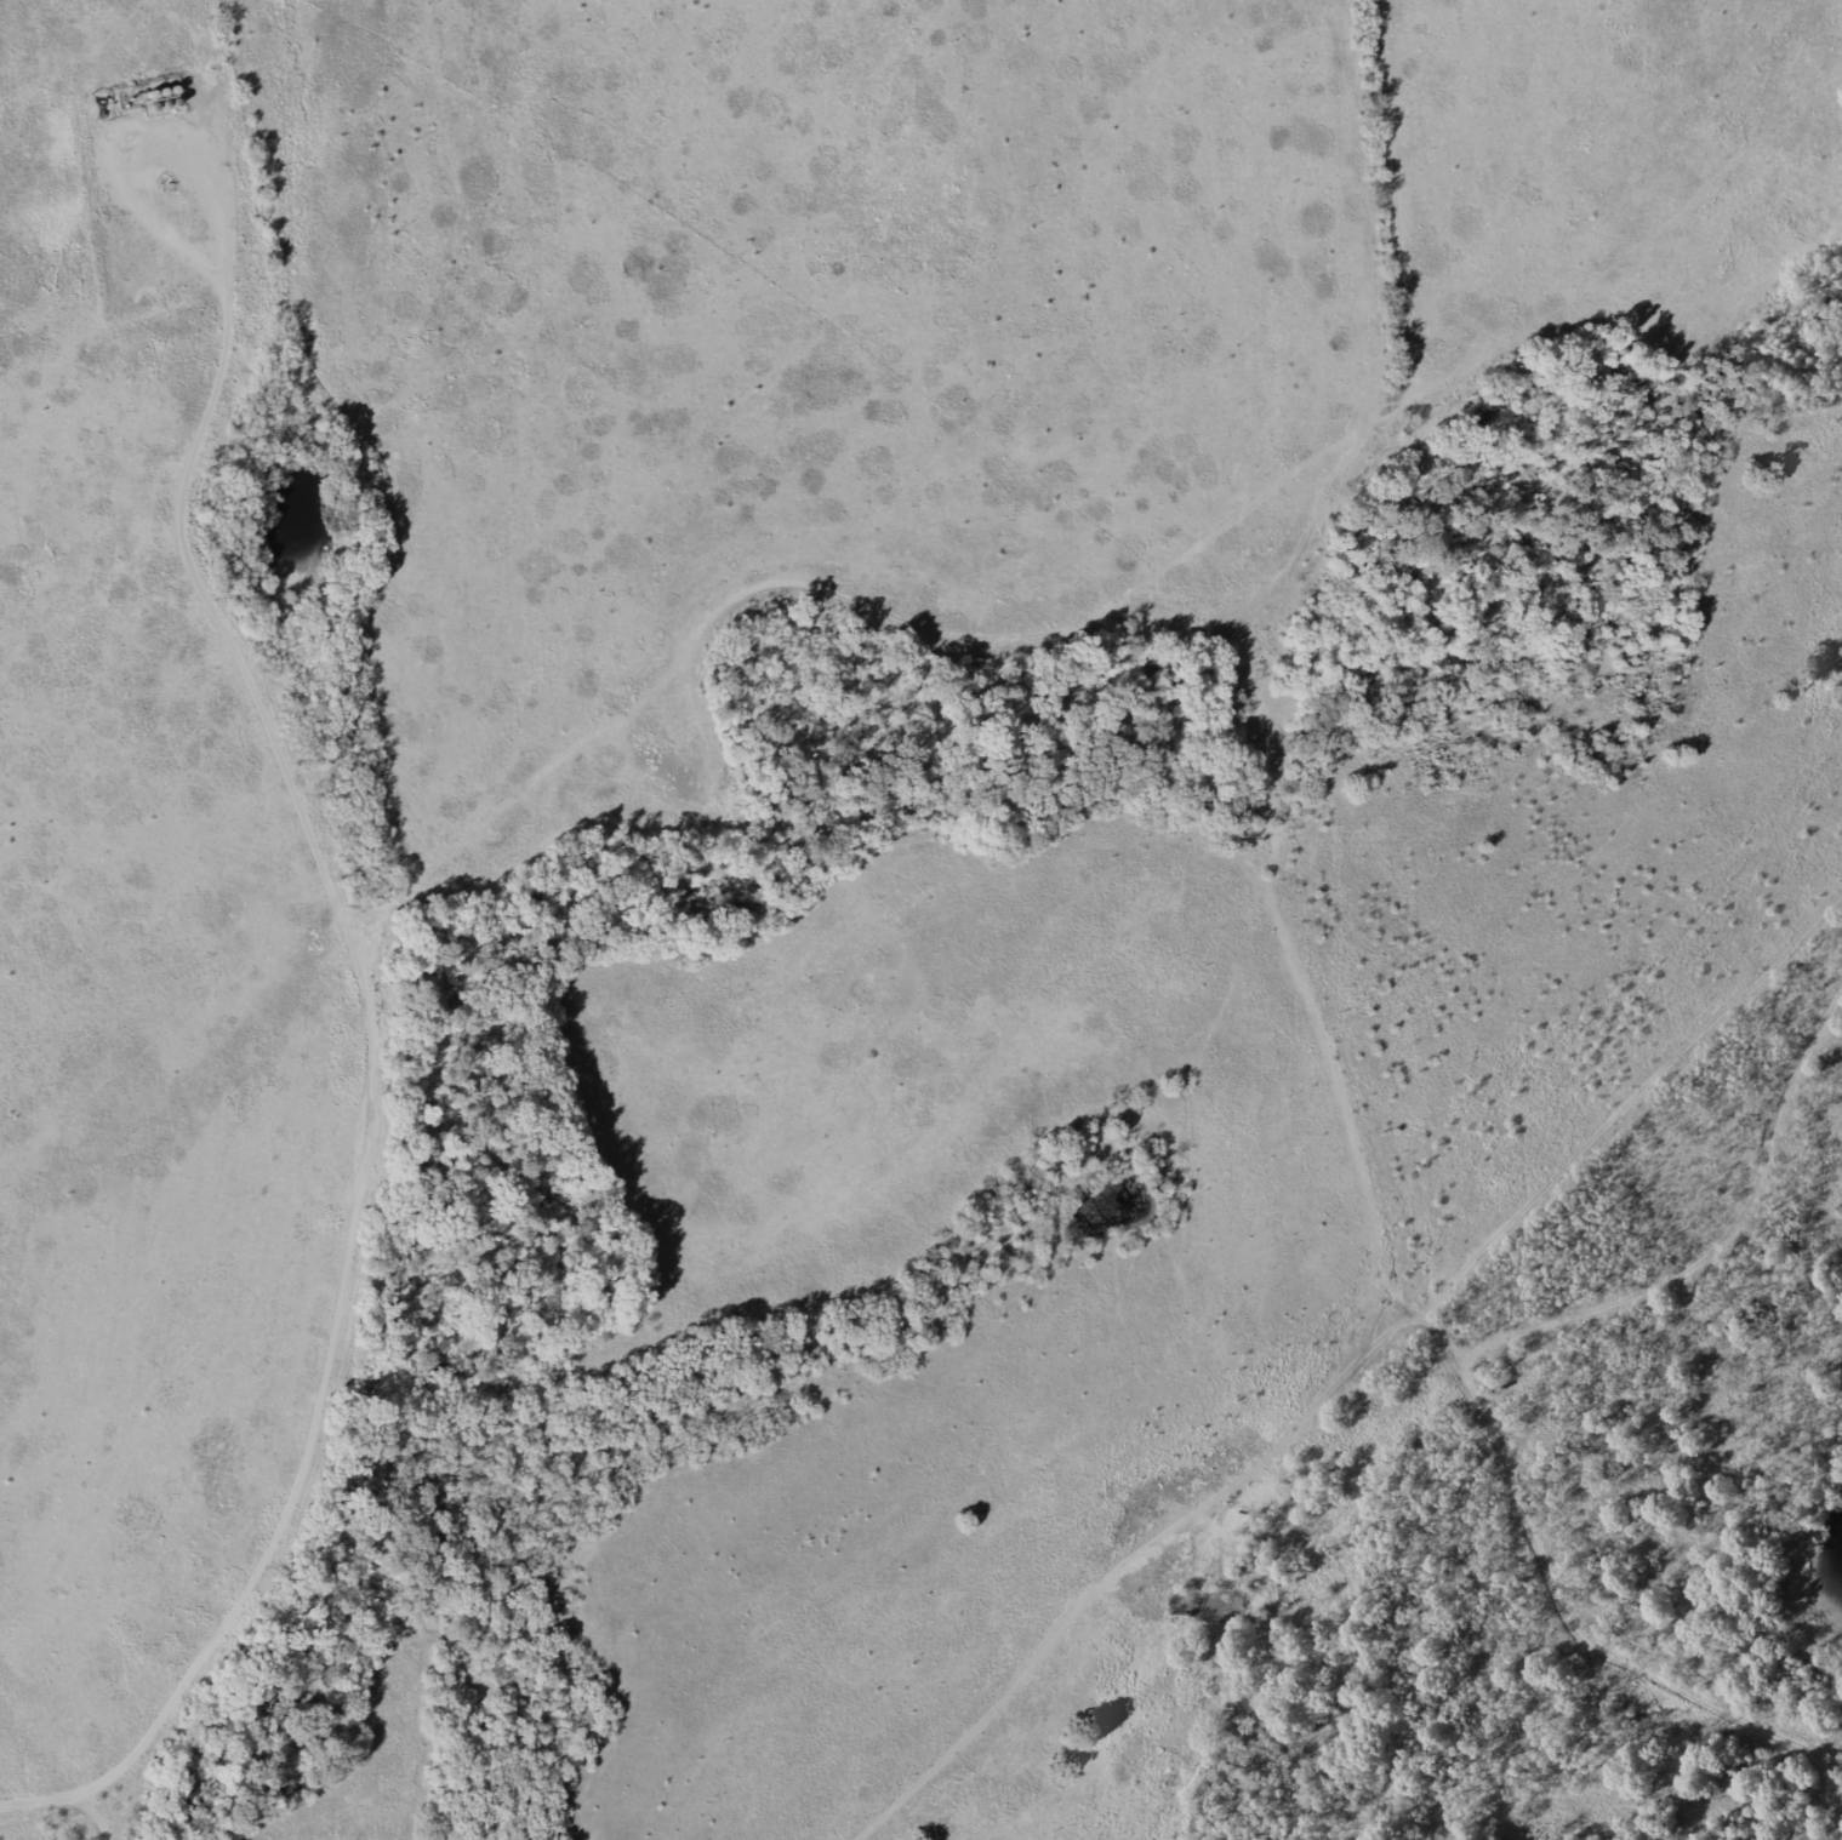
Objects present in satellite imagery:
road: (1032, 273)

